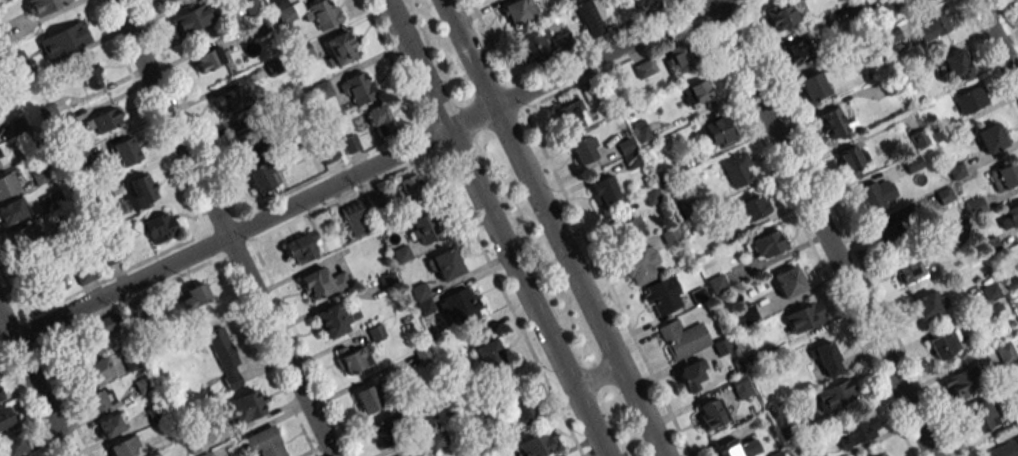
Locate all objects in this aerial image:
building: (168, 0)
building: (572, 0)
building: (917, 1)
building: (638, 2)
building: (43, 6)
building: (518, 10)
building: (286, 14)
building: (323, 14)
building: (783, 14)
building: (193, 18)
building: (588, 18)
building: (932, 26)
building: (64, 40)
building: (561, 42)
building: (533, 44)
road: (996, 44)
building: (338, 48)
building: (797, 52)
building: (209, 58)
building: (677, 59)
building: (956, 65)
building: (644, 68)
building: (90, 75)
building: (813, 86)
building: (358, 88)
building: (322, 89)
building: (696, 93)
building: (970, 99)
building: (227, 100)
building: (571, 115)
building: (379, 120)
building: (103, 121)
building: (835, 124)
building: (641, 130)
building: (717, 132)
building: (918, 138)
building: (990, 138)
building: (246, 144)
building: (350, 144)
building: (584, 148)
building: (126, 151)
building: (326, 151)
building: (850, 158)
building: (0, 166)
building: (737, 169)
road: (363, 171)
building: (261, 176)
building: (1004, 176)
building: (9, 183)
building: (409, 188)
building: (142, 190)
building: (603, 190)
building: (875, 195)
building: (975, 205)
building: (752, 206)
building: (12, 210)
building: (1008, 217)
building: (355, 218)
building: (159, 227)
road: (223, 227)
building: (631, 227)
road: (821, 227)
building: (425, 228)
road: (495, 228)
road: (552, 228)
building: (24, 236)
building: (765, 244)
building: (300, 247)
building: (445, 264)
building: (640, 265)
building: (908, 270)
building: (85, 275)
building: (788, 281)
building: (48, 283)
building: (321, 283)
building: (195, 296)
building: (662, 296)
building: (422, 298)
building: (925, 304)
building: (460, 307)
building: (746, 313)
building: (803, 317)
building: (337, 318)
building: (478, 334)
building: (87, 338)
building: (682, 338)
building: (944, 345)
building: (1005, 352)
building: (224, 356)
building: (490, 357)
building: (826, 359)
building: (353, 360)
building: (92, 371)
building: (690, 374)
road: (595, 376)
building: (961, 384)
road: (34, 385)
building: (740, 387)
building: (834, 394)
building: (0, 396)
building: (367, 398)
building: (99, 399)
building: (246, 405)
building: (520, 411)
building: (710, 413)
building: (981, 415)
building: (6, 416)
building: (111, 424)
building: (385, 430)
building: (856, 431)
building: (265, 443)
building: (12, 444)
building: (537, 444)
building: (124, 447)
building: (736, 447)
building: (1003, 448)
building: (406, 454)
building: (881, 454)
building: (31, 455)

